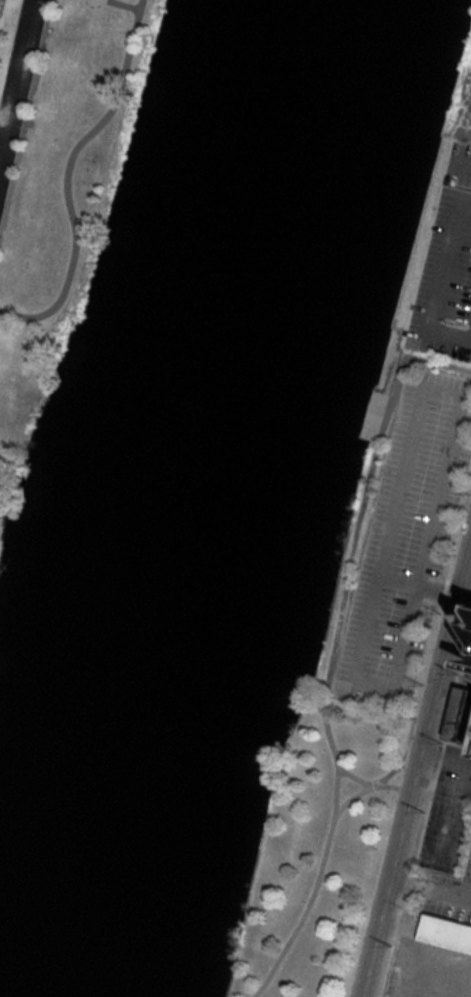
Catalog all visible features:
parking lot: (1, 7)
road: (15, 7)
road: (17, 59)
road: (458, 247)
parking lot: (446, 250)
road: (438, 274)
river: (193, 499)
parking lot: (407, 538)
road: (428, 539)
building: (470, 596)
building: (468, 615)
road: (334, 649)
building: (465, 652)
road: (416, 772)
park: (331, 775)
road: (378, 781)
road: (371, 784)
building: (445, 934)

